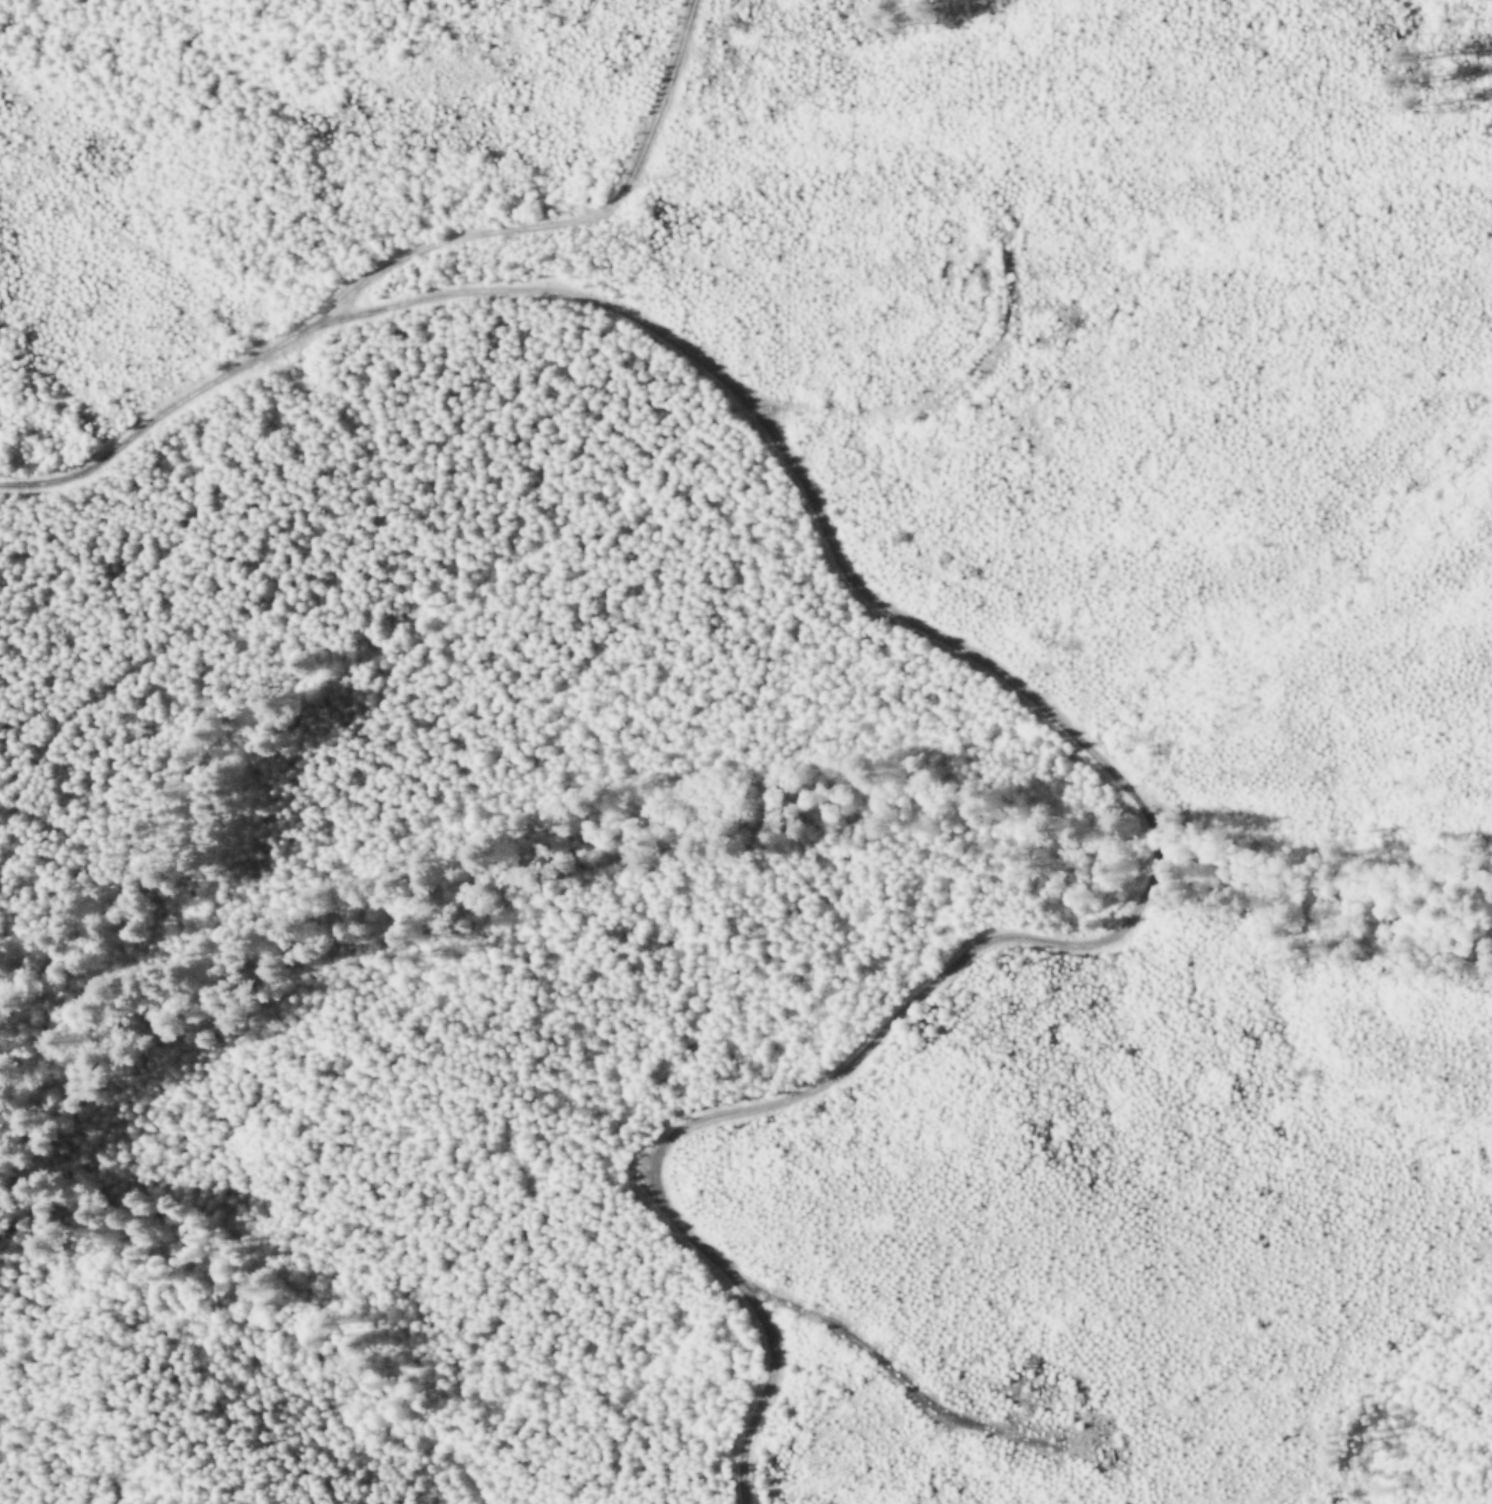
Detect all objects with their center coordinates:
road: (1016, 685)

